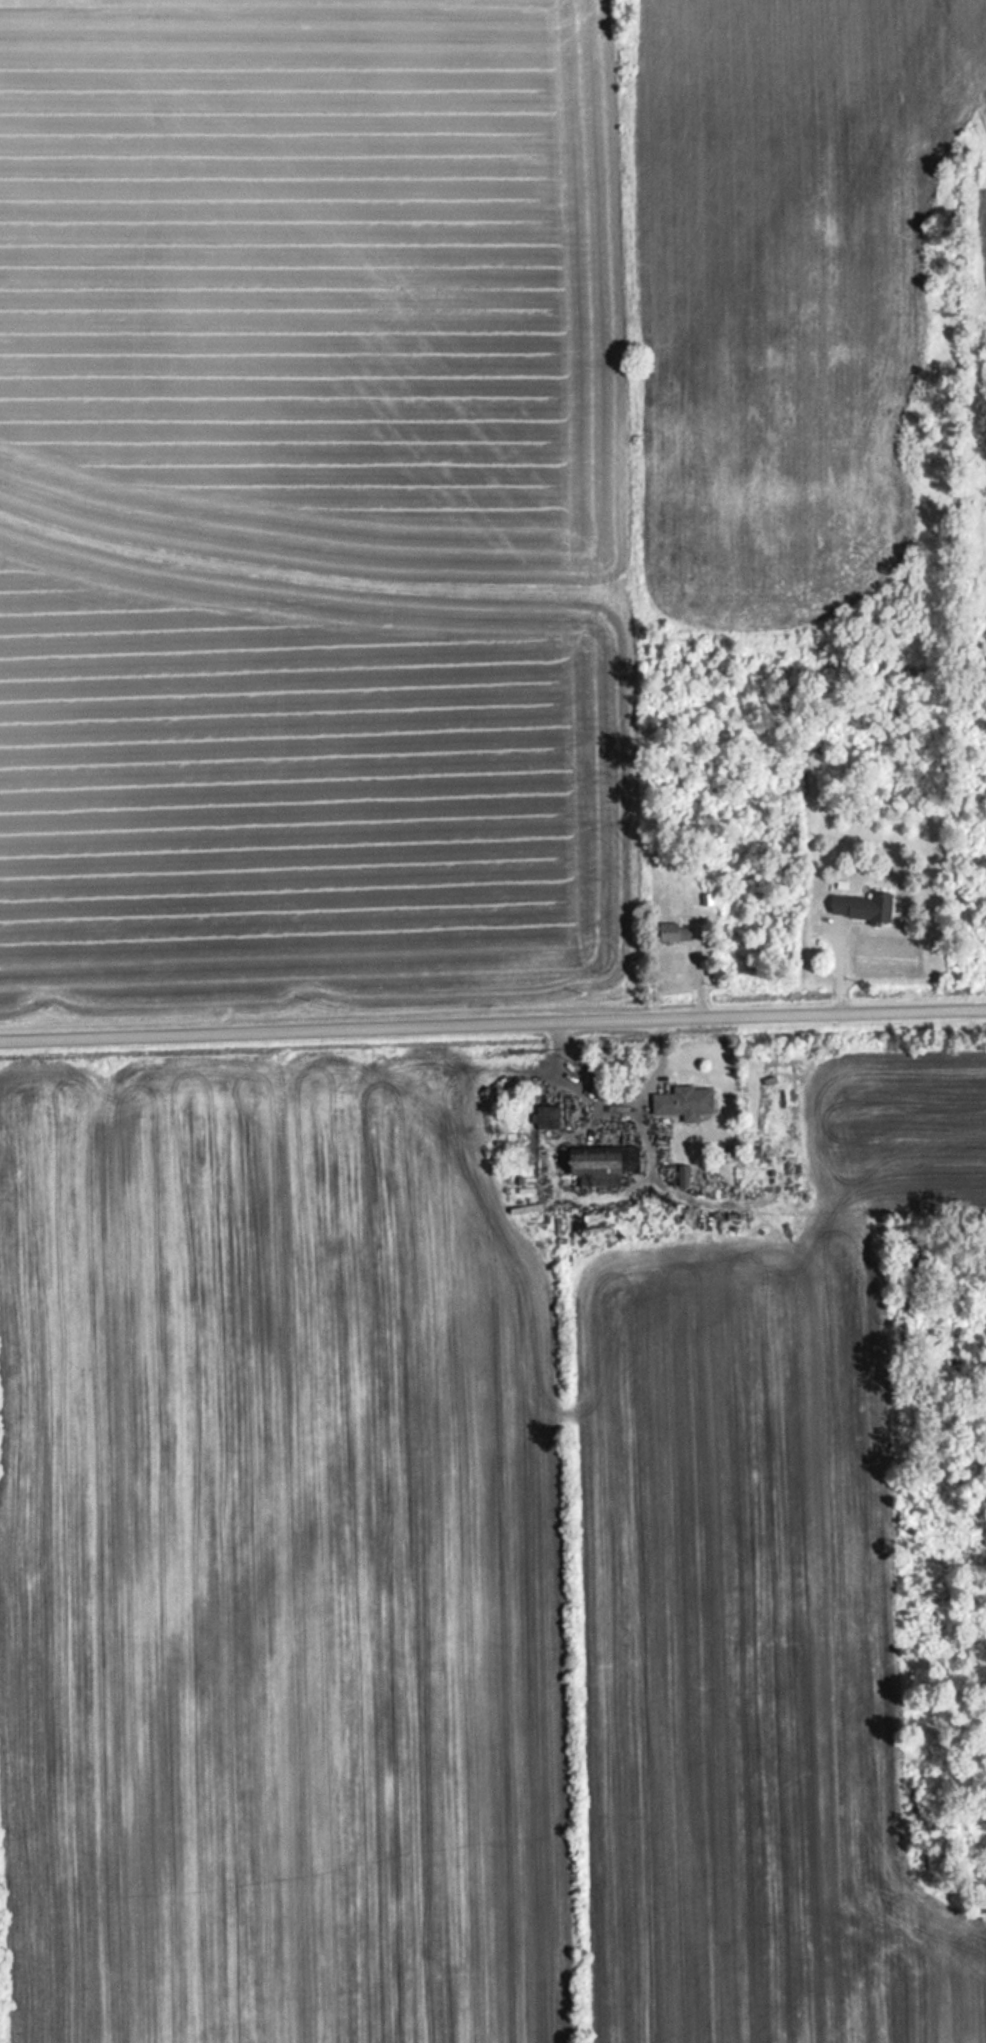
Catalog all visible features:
building: (866, 907)
building: (678, 933)
road: (493, 1024)
building: (687, 1103)

